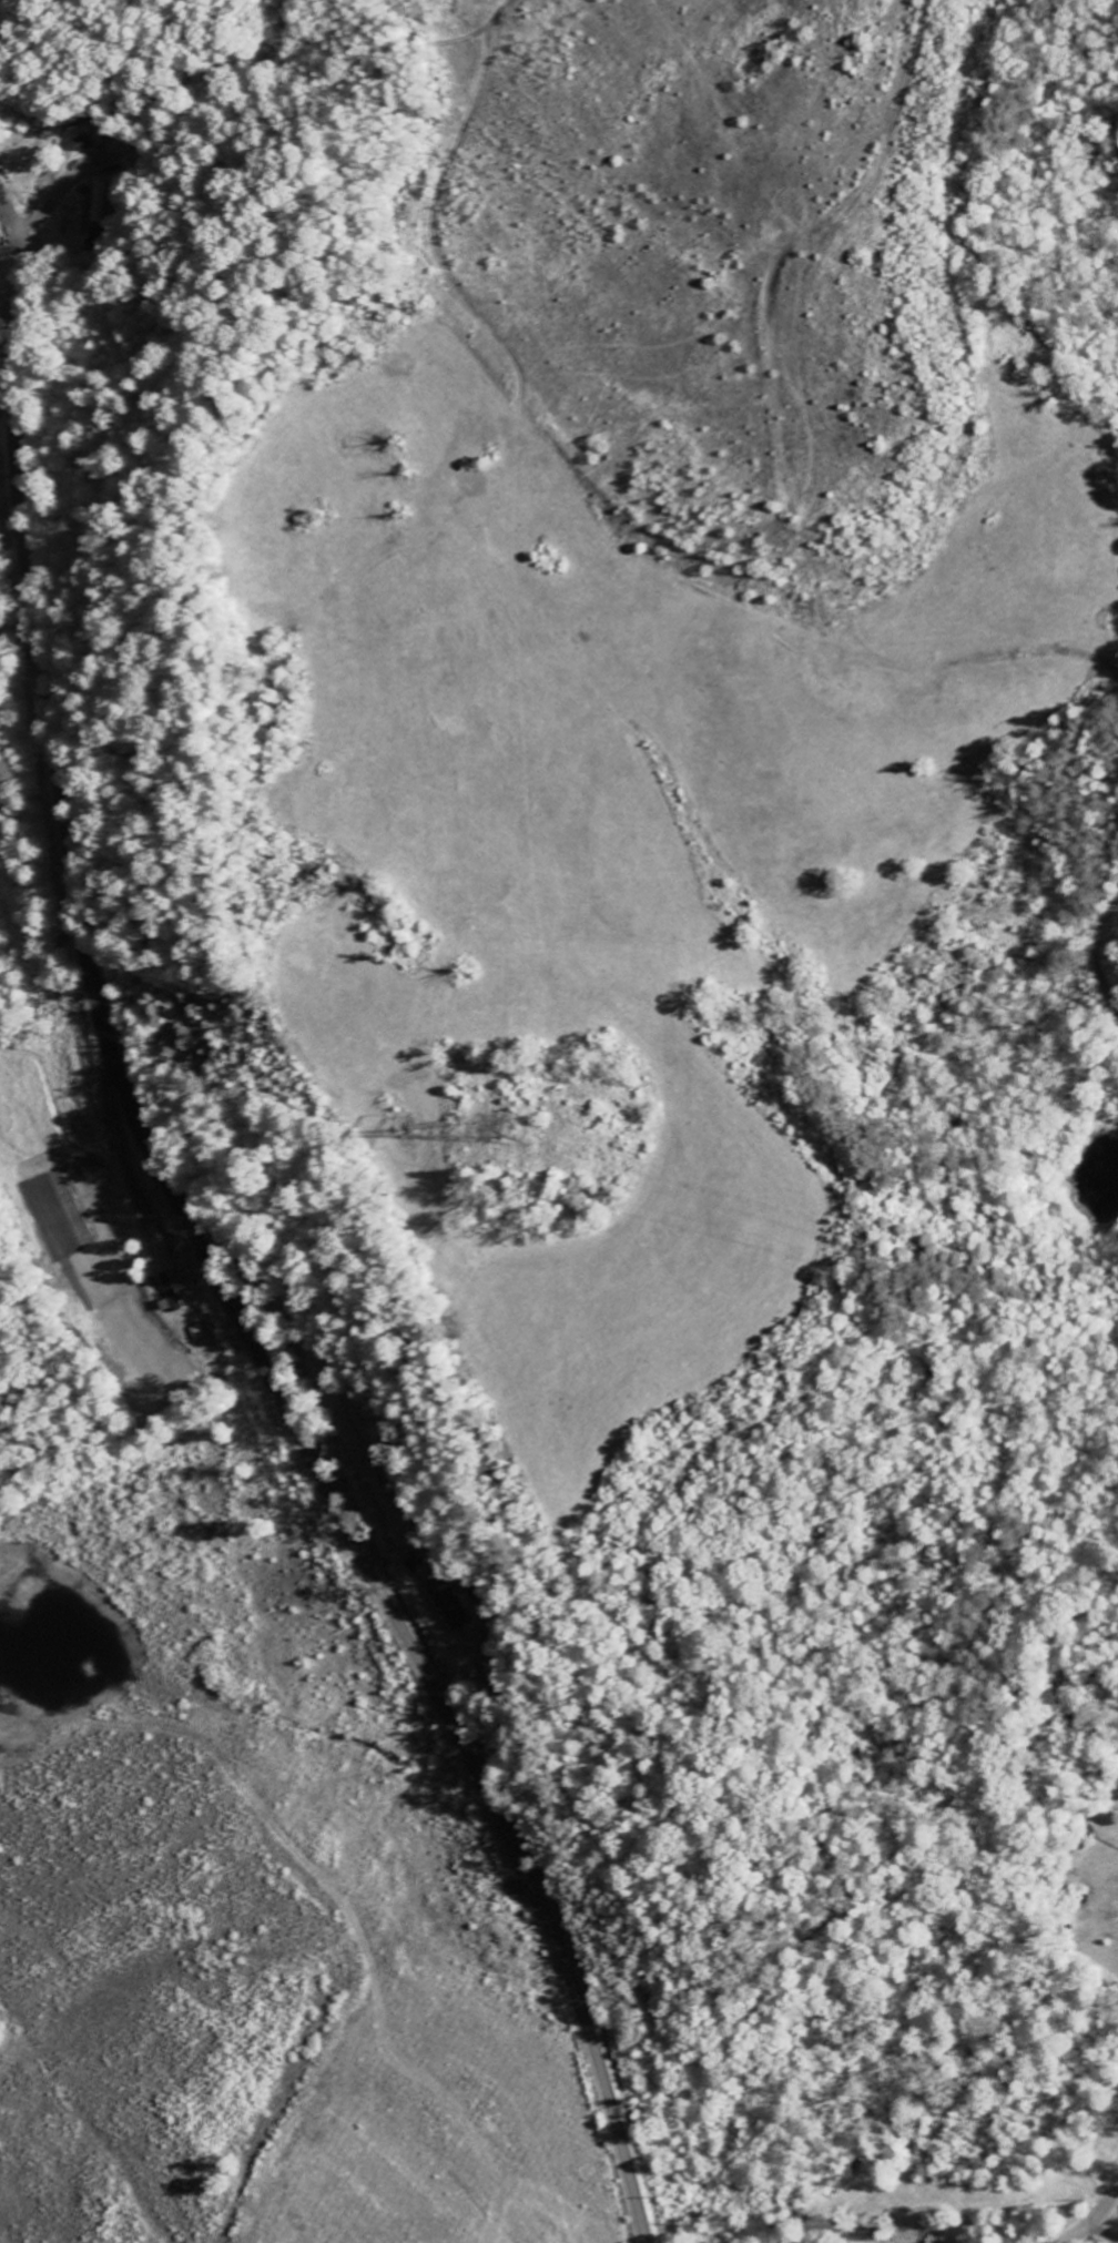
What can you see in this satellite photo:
power tower: (506, 1130)
road: (203, 1250)
building: (451, 1597)
road: (1095, 2216)
road: (1099, 2237)

